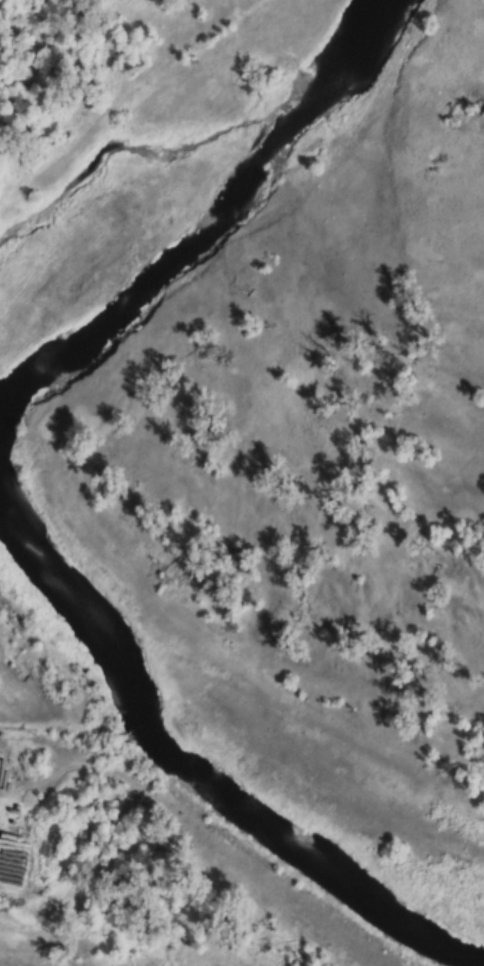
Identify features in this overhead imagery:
river: (207, 216)
river: (195, 778)

